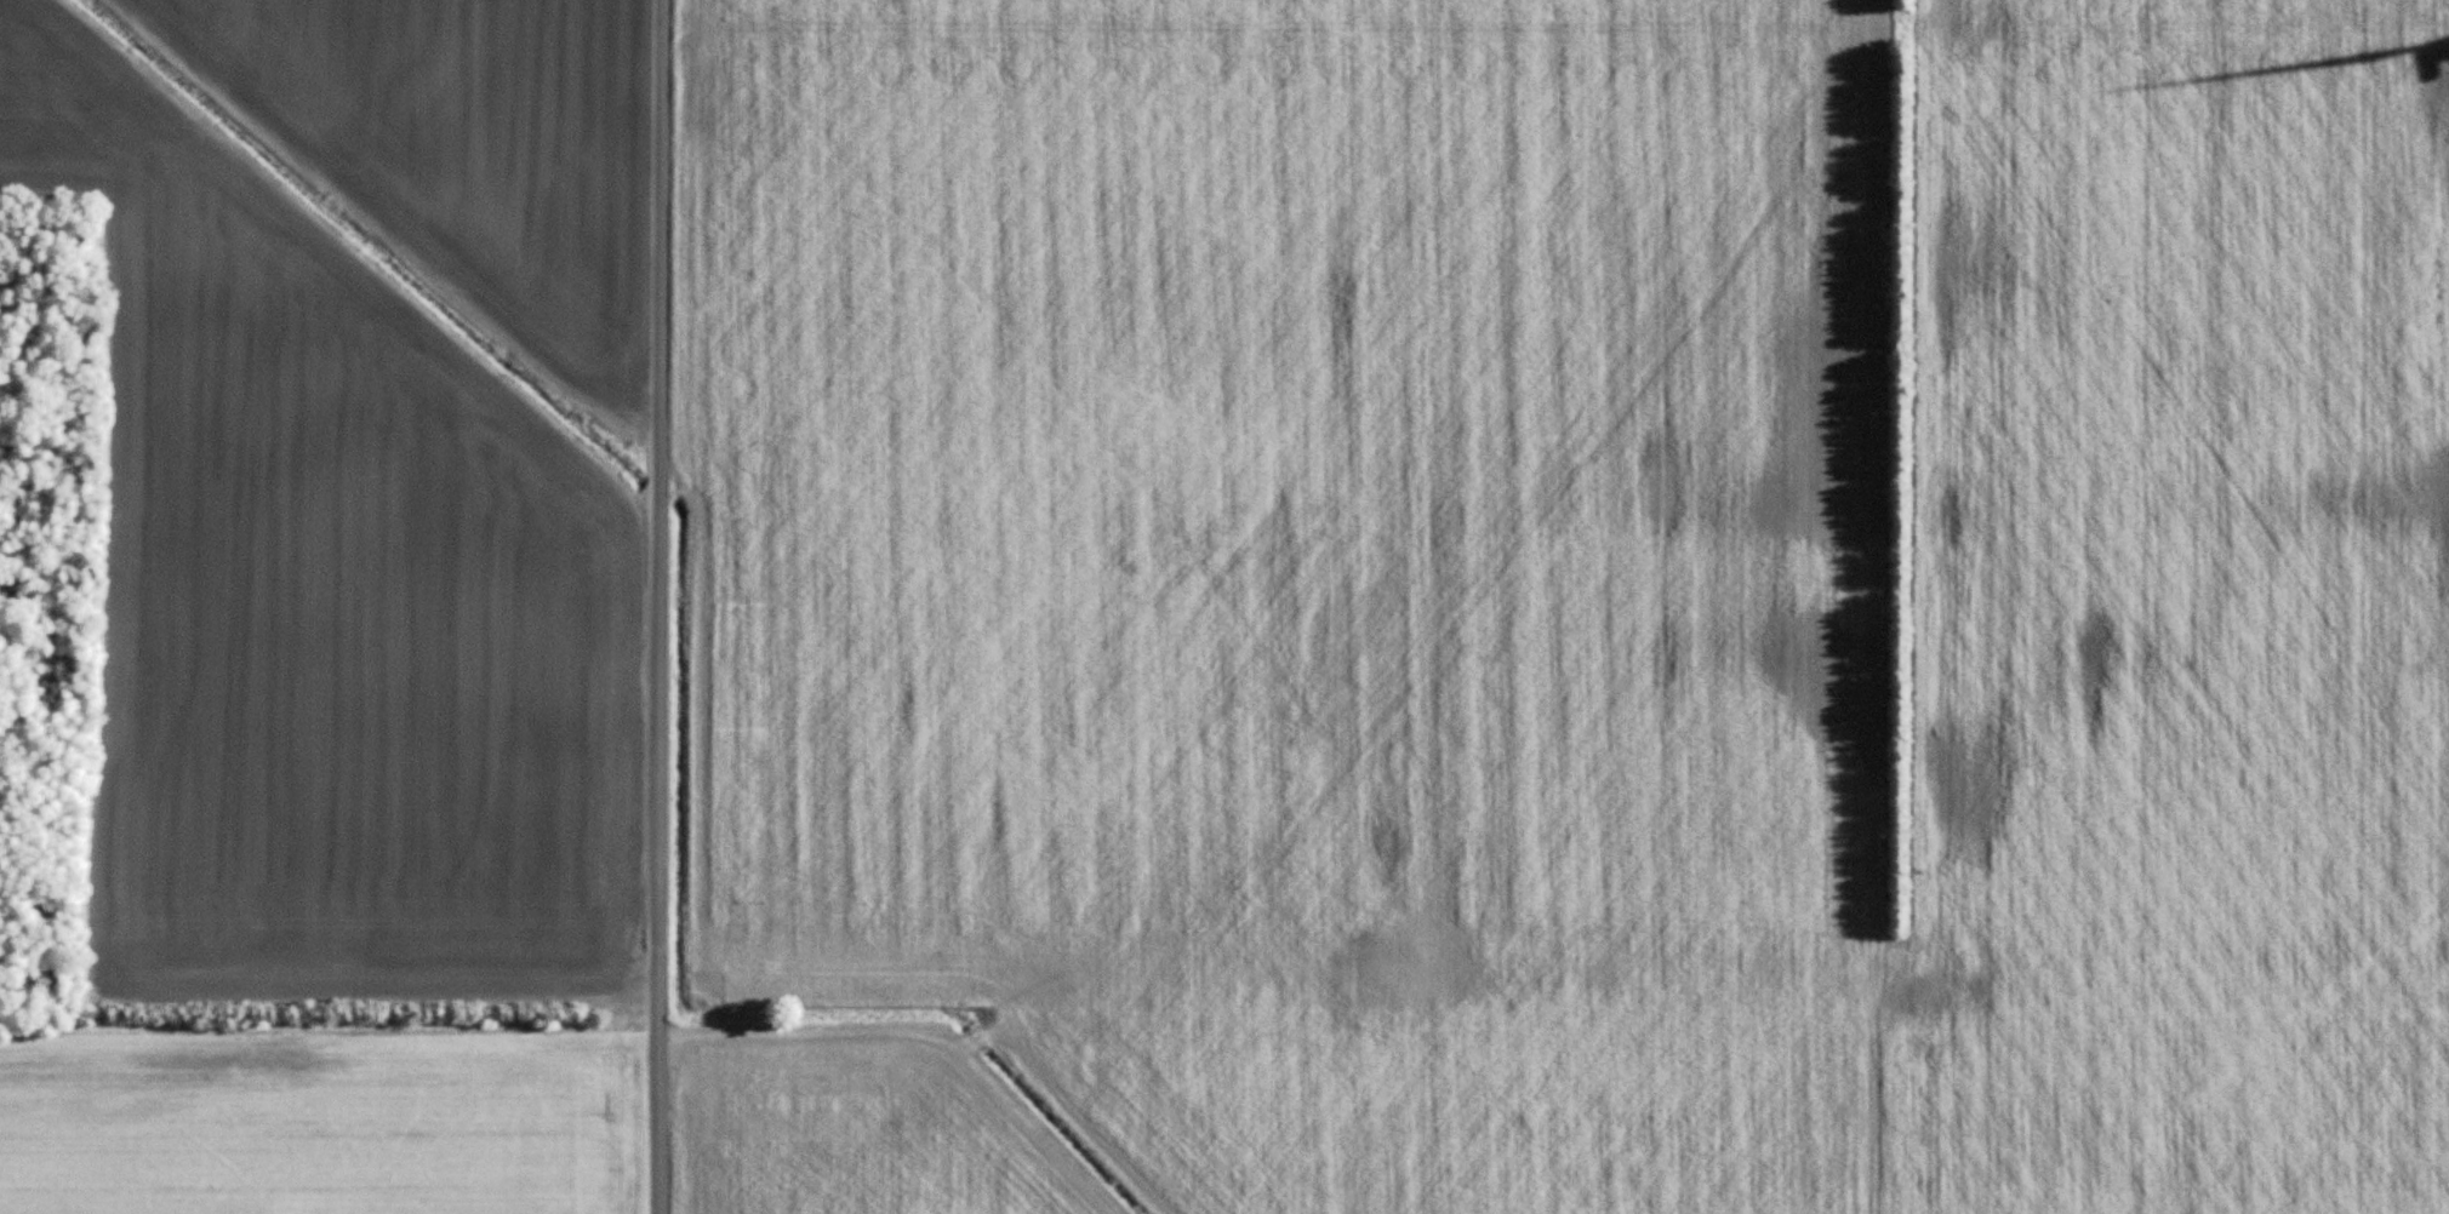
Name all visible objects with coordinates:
road: (658, 606)

